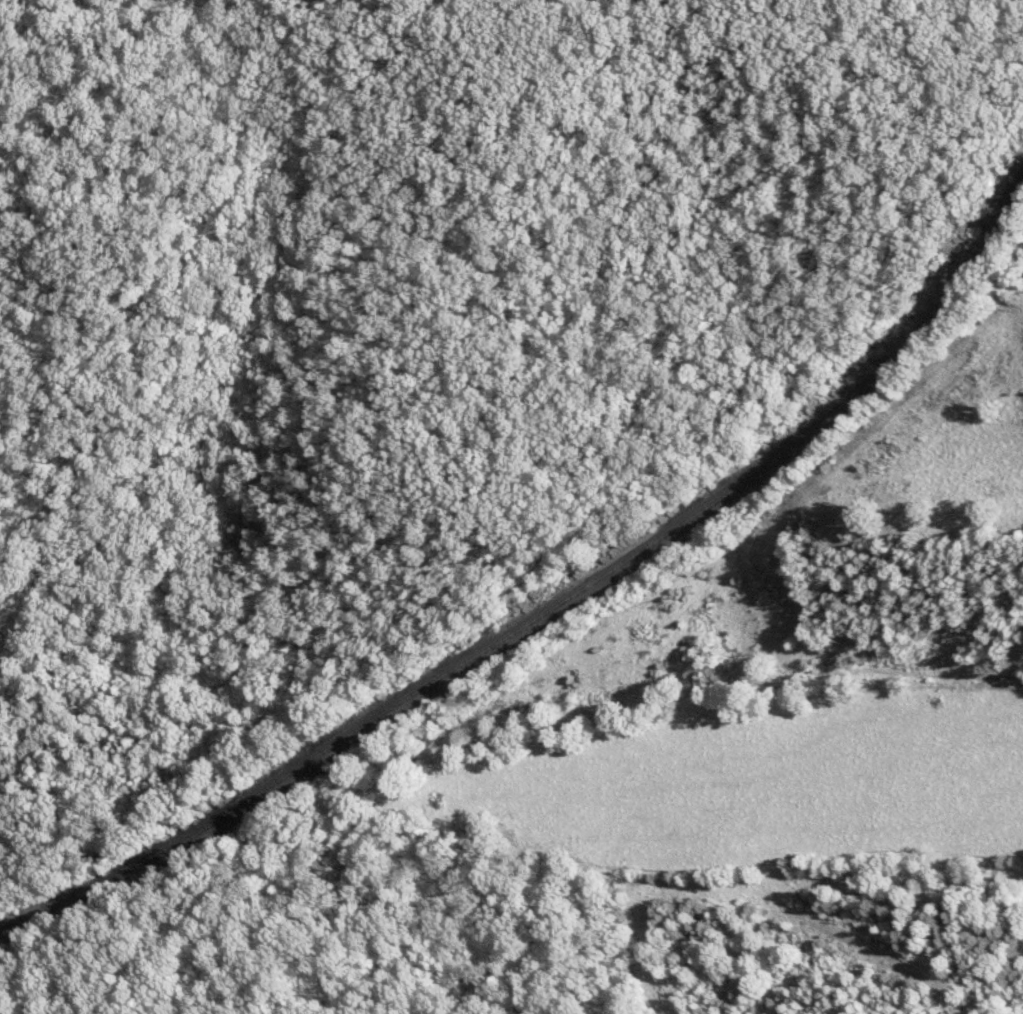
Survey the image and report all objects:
railway: (556, 609)

